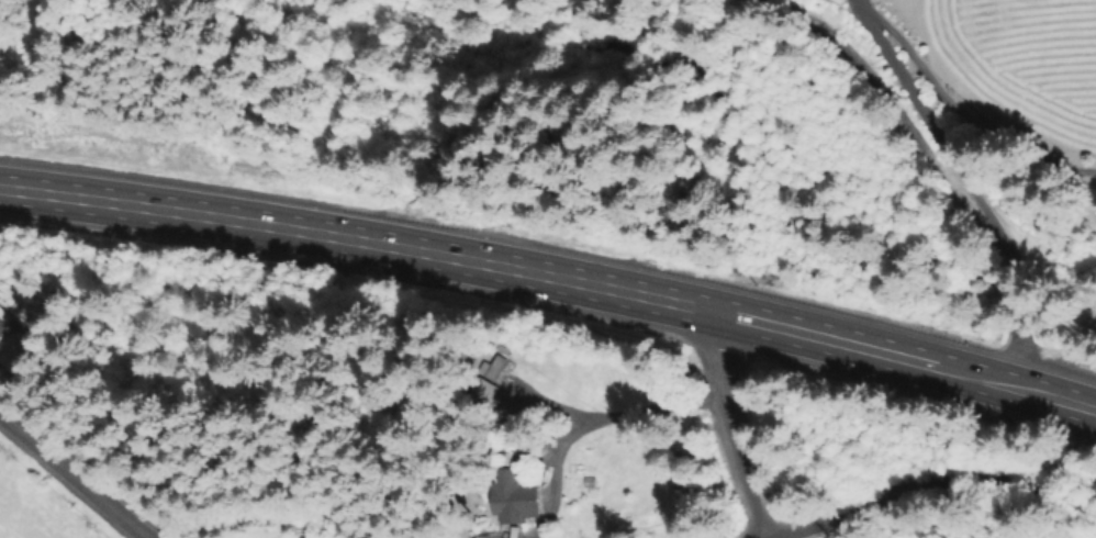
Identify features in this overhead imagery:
road: (961, 183)
road: (552, 274)
road: (725, 425)
road: (79, 475)
road: (922, 480)

